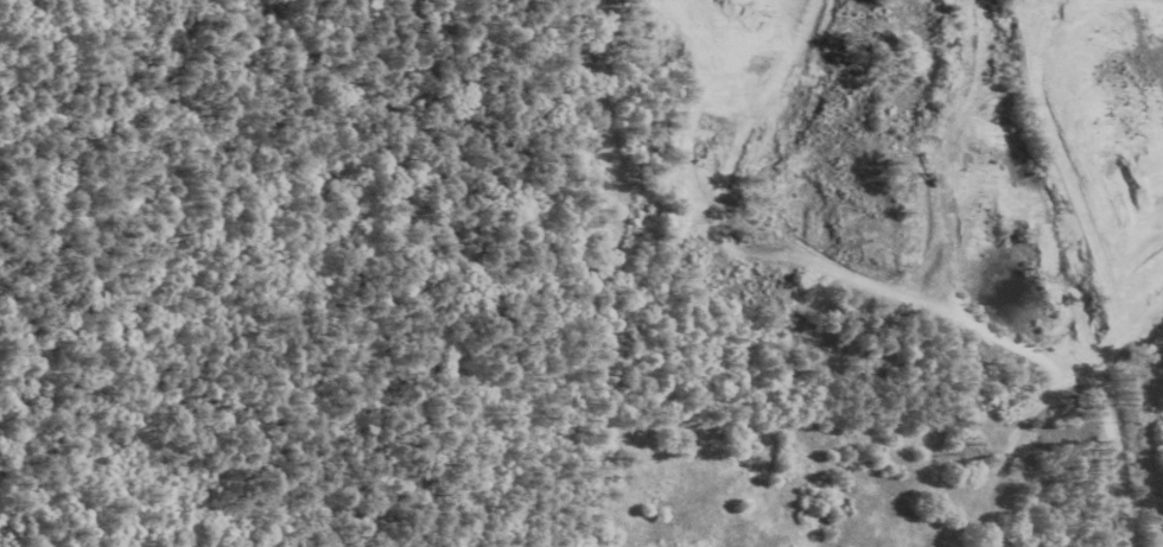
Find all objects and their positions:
road: (1072, 375)

